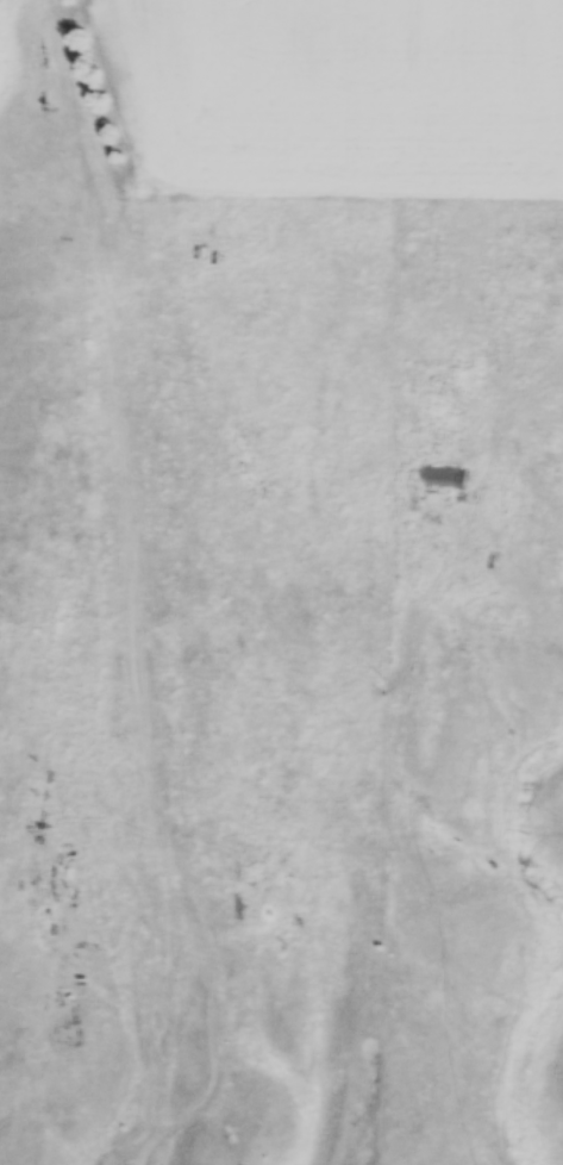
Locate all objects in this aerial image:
building: (442, 485)

